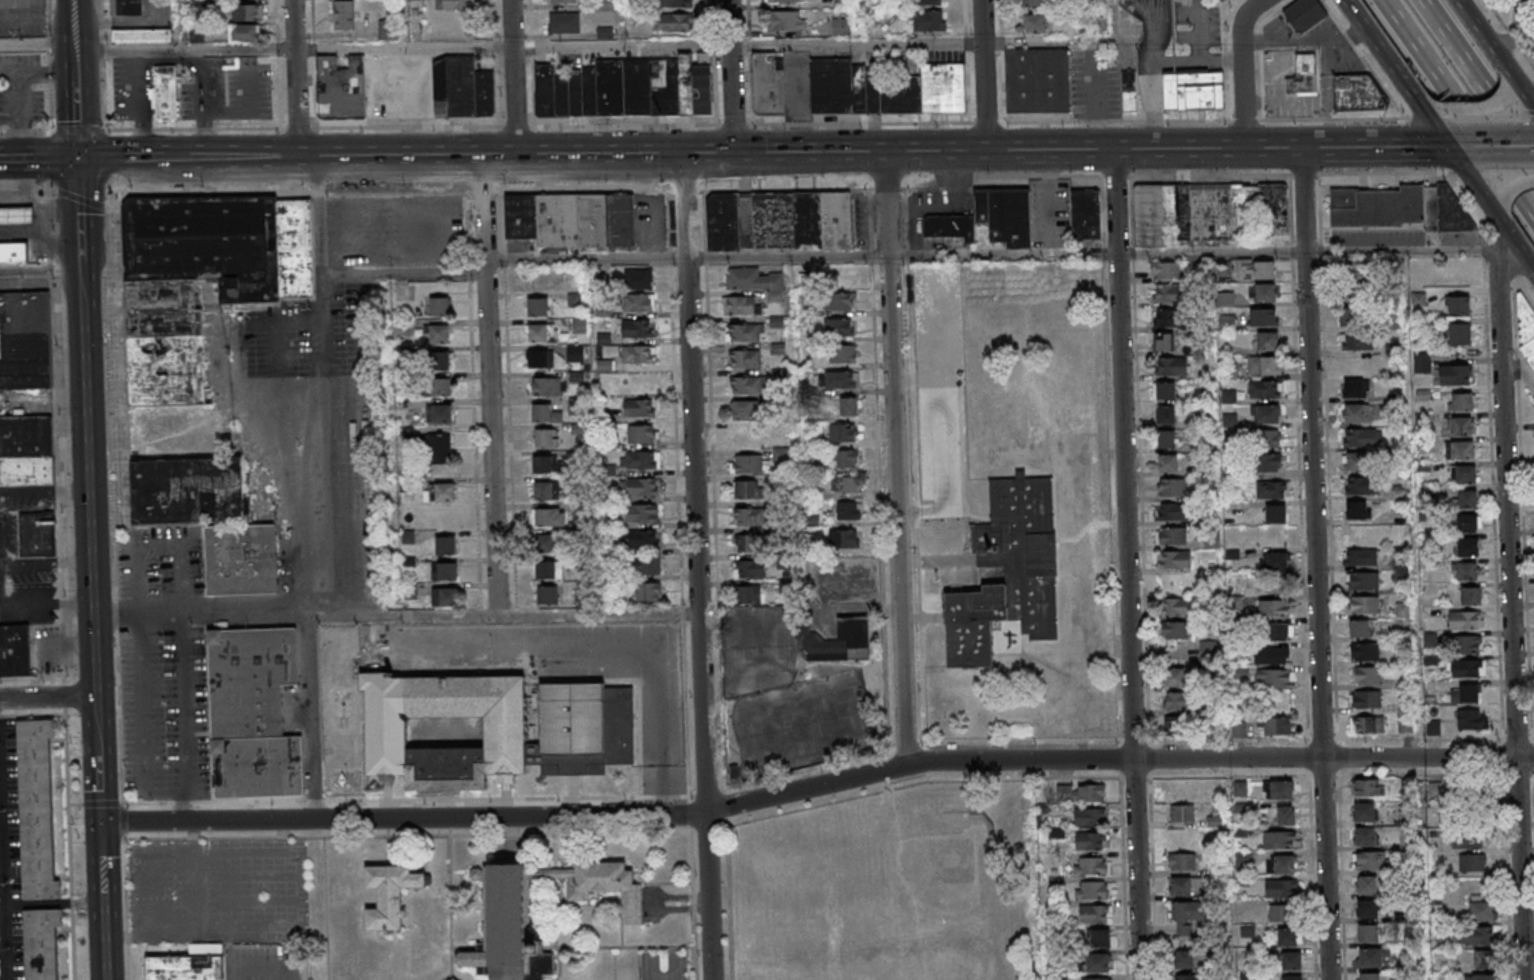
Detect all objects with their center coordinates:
building: (1512, 0)
building: (560, 2)
building: (781, 2)
building: (1032, 2)
building: (918, 3)
building: (668, 4)
building: (839, 4)
building: (451, 5)
building: (604, 5)
building: (123, 8)
building: (247, 11)
building: (1305, 14)
building: (341, 16)
road: (46, 18)
road: (276, 20)
road: (1111, 20)
road: (101, 21)
road: (313, 21)
building: (783, 22)
building: (925, 22)
building: (1035, 22)
road: (494, 23)
building: (561, 24)
building: (671, 24)
road: (178, 26)
road: (1152, 26)
building: (838, 28)
road: (1202, 30)
building: (244, 31)
building: (384, 32)
building: (603, 33)
road: (1509, 33)
building: (194, 35)
road: (73, 36)
building: (139, 37)
road: (1484, 38)
road: (47, 42)
road: (811, 43)
parking lot: (1172, 44)
road: (36, 45)
road: (314, 48)
road: (402, 48)
road: (104, 49)
road: (277, 49)
road: (183, 51)
road: (532, 59)
road: (715, 60)
road: (970, 60)
road: (1366, 60)
road: (751, 61)
road: (1156, 63)
road: (1241, 69)
road: (37, 73)
road: (1396, 73)
road: (983, 75)
building: (1303, 75)
road: (731, 77)
road: (513, 78)
road: (294, 79)
building: (1037, 79)
building: (686, 82)
road: (1476, 82)
road: (1511, 82)
building: (703, 83)
building: (771, 83)
building: (439, 85)
building: (461, 85)
building: (665, 85)
building: (835, 85)
building: (637, 86)
road: (315, 87)
building: (345, 87)
building: (610, 87)
building: (877, 87)
building: (947, 87)
building: (544, 88)
building: (863, 88)
building: (589, 89)
building: (1193, 89)
road: (48, 90)
building: (1129, 90)
building: (165, 92)
road: (278, 92)
building: (485, 92)
building: (561, 93)
building: (575, 93)
building: (1358, 93)
road: (1522, 93)
road: (105, 94)
road: (21, 96)
building: (907, 98)
road: (1418, 98)
road: (1475, 107)
road: (1458, 109)
road: (1530, 112)
road: (1485, 113)
road: (497, 114)
road: (1352, 118)
road: (516, 119)
road: (10, 120)
road: (1248, 120)
road: (993, 121)
road: (738, 122)
road: (298, 124)
road: (78, 128)
road: (195, 128)
road: (26, 129)
road: (21, 140)
road: (1425, 143)
road: (1384, 147)
traffic signals: (1448, 147)
road: (1461, 147)
road: (1504, 147)
road: (1314, 148)
road: (47, 154)
road: (750, 154)
traffic signals: (734, 155)
traffic signals: (688, 156)
road: (109, 158)
road: (49, 159)
traffic signals: (78, 159)
road: (135, 160)
road: (11, 161)
road: (1380, 173)
road: (996, 176)
road: (1116, 176)
road: (1211, 176)
road: (1303, 176)
road: (1512, 186)
road: (788, 188)
road: (887, 188)
road: (27, 190)
road: (686, 190)
road: (80, 192)
road: (388, 192)
road: (1466, 203)
building: (1378, 208)
building: (1433, 209)
road: (1491, 209)
building: (1209, 210)
road: (1320, 211)
building: (1454, 211)
building: (1086, 213)
road: (1500, 214)
building: (18, 215)
road: (502, 215)
road: (51, 218)
building: (573, 218)
building: (989, 218)
building: (778, 220)
road: (467, 229)
building: (205, 242)
building: (295, 247)
building: (16, 252)
road: (1321, 253)
road: (1005, 254)
road: (504, 258)
building: (1252, 268)
road: (40, 269)
road: (55, 269)
building: (1165, 271)
road: (406, 272)
road: (469, 273)
building: (638, 278)
building: (752, 278)
building: (1265, 292)
building: (1167, 294)
building: (1225, 298)
building: (840, 301)
building: (638, 302)
building: (740, 305)
building: (1459, 305)
building: (439, 306)
building: (536, 306)
building: (163, 307)
building: (1263, 316)
building: (1350, 316)
building: (1168, 318)
building: (1226, 321)
building: (1528, 324)
building: (579, 325)
building: (842, 326)
building: (636, 328)
building: (541, 332)
building: (744, 332)
building: (439, 334)
building: (1461, 335)
building: (25, 339)
building: (1356, 341)
building: (1163, 342)
building: (1268, 342)
building: (575, 352)
building: (638, 353)
building: (843, 353)
building: (540, 358)
building: (743, 358)
building: (440, 360)
building: (1422, 362)
building: (603, 364)
building: (1357, 364)
building: (1171, 366)
building: (1262, 366)
road: (1522, 366)
building: (167, 368)
building: (1455, 374)
building: (844, 379)
road: (87, 383)
building: (747, 385)
building: (439, 386)
road: (495, 386)
building: (548, 386)
building: (1352, 387)
road: (324, 388)
parking lot: (940, 389)
building: (1164, 390)
building: (1265, 390)
road: (107, 391)
road: (677, 397)
building: (1466, 401)
road: (285, 405)
building: (638, 407)
building: (847, 407)
building: (743, 410)
building: (439, 413)
building: (544, 413)
building: (1356, 413)
building: (1166, 414)
building: (1265, 415)
road: (798, 424)
building: (1465, 425)
building: (642, 434)
building: (842, 434)
building: (544, 437)
building: (748, 438)
building: (1167, 438)
building: (1362, 438)
building: (1265, 439)
road: (510, 441)
road: (475, 444)
building: (439, 448)
building: (26, 450)
building: (1463, 450)
building: (781, 455)
road: (1298, 457)
road: (899, 458)
building: (846, 459)
building: (643, 460)
building: (1268, 463)
building: (1355, 463)
building: (542, 464)
building: (750, 464)
building: (1168, 464)
road: (914, 467)
road: (879, 471)
building: (1467, 474)
road: (63, 480)
building: (845, 484)
building: (1358, 486)
building: (639, 487)
building: (1172, 487)
building: (185, 488)
building: (748, 489)
building: (1273, 489)
building: (545, 490)
road: (713, 490)
building: (441, 491)
building: (952, 498)
road: (1329, 499)
building: (1471, 499)
building: (848, 510)
building: (1173, 511)
building: (1357, 511)
building: (641, 513)
building: (1276, 513)
building: (549, 517)
building: (749, 517)
building: (1471, 523)
building: (36, 533)
building: (1171, 535)
building: (844, 538)
building: (642, 539)
building: (750, 542)
building: (446, 544)
building: (1471, 547)
building: (1360, 557)
building: (1174, 558)
building: (241, 559)
road: (941, 560)
building: (1276, 560)
road: (1132, 564)
road: (1320, 564)
building: (651, 565)
building: (548, 568)
road: (703, 568)
building: (750, 568)
building: (444, 570)
building: (1470, 570)
building: (1013, 574)
building: (1368, 581)
parking lot: (837, 586)
building: (648, 593)
building: (749, 593)
building: (546, 594)
building: (1475, 595)
building: (444, 596)
building: (1368, 605)
building: (1177, 606)
building: (1272, 608)
road: (1513, 609)
road: (682, 611)
road: (817, 611)
road: (115, 612)
road: (481, 612)
road: (401, 617)
road: (819, 617)
building: (1467, 621)
building: (1359, 628)
building: (1176, 629)
building: (1281, 630)
building: (837, 640)
road: (584, 644)
building: (1471, 644)
building: (15, 650)
building: (1208, 651)
building: (1369, 653)
building: (1271, 655)
building: (1469, 669)
building: (1173, 676)
building: (1370, 676)
road: (32, 678)
building: (1276, 678)
building: (1468, 694)
road: (49, 696)
road: (65, 696)
park: (788, 699)
building: (1371, 699)
building: (1177, 700)
road: (686, 708)
road: (190, 711)
building: (253, 712)
road: (32, 714)
road: (119, 717)
road: (317, 718)
building: (1472, 719)
building: (1367, 724)
building: (1175, 725)
building: (1405, 725)
building: (1276, 726)
building: (497, 729)
building: (1237, 729)
road: (147, 736)
road: (1019, 739)
road: (1134, 739)
road: (1241, 739)
road: (1435, 739)
road: (905, 743)
road: (925, 755)
road: (99, 758)
road: (1119, 760)
road: (889, 763)
road: (806, 767)
building: (1367, 787)
building: (1279, 789)
road: (706, 791)
building: (1081, 792)
building: (1181, 792)
road: (407, 798)
road: (663, 798)
road: (725, 803)
road: (100, 804)
road: (75, 805)
building: (36, 808)
building: (1365, 811)
road: (689, 813)
building: (1181, 813)
building: (1287, 815)
building: (1090, 817)
road: (122, 818)
road: (405, 819)
road: (723, 821)
traffic signals: (100, 822)
road: (323, 824)
road: (708, 827)
road: (409, 834)
building: (1365, 836)
building: (1183, 838)
building: (1279, 839)
building: (1467, 839)
building: (1092, 841)
road: (69, 844)
road: (556, 850)
building: (1182, 861)
building: (1370, 861)
building: (1472, 863)
building: (1281, 864)
building: (1091, 867)
road: (556, 872)
building: (1367, 885)
building: (1180, 887)
building: (1281, 887)
building: (1092, 890)
building: (390, 896)
road: (729, 897)
park: (922, 897)
road: (450, 899)
road: (102, 901)
road: (693, 903)
road: (326, 904)
road: (125, 905)
building: (1368, 908)
building: (1481, 910)
building: (1279, 912)
building: (505, 913)
building: (1094, 914)
building: (1186, 917)
road: (557, 929)
building: (1368, 932)
building: (1288, 936)
building: (1477, 936)
building: (1099, 938)
building: (41, 943)
road: (626, 945)
building: (1371, 957)
building: (1184, 959)
building: (1484, 959)
building: (1291, 960)
building: (1097, 962)
building: (184, 967)
road: (449, 973)
building: (1370, 976)
building: (1188, 977)
building: (1292, 977)
building: (1483, 977)
building: (1095, 978)

